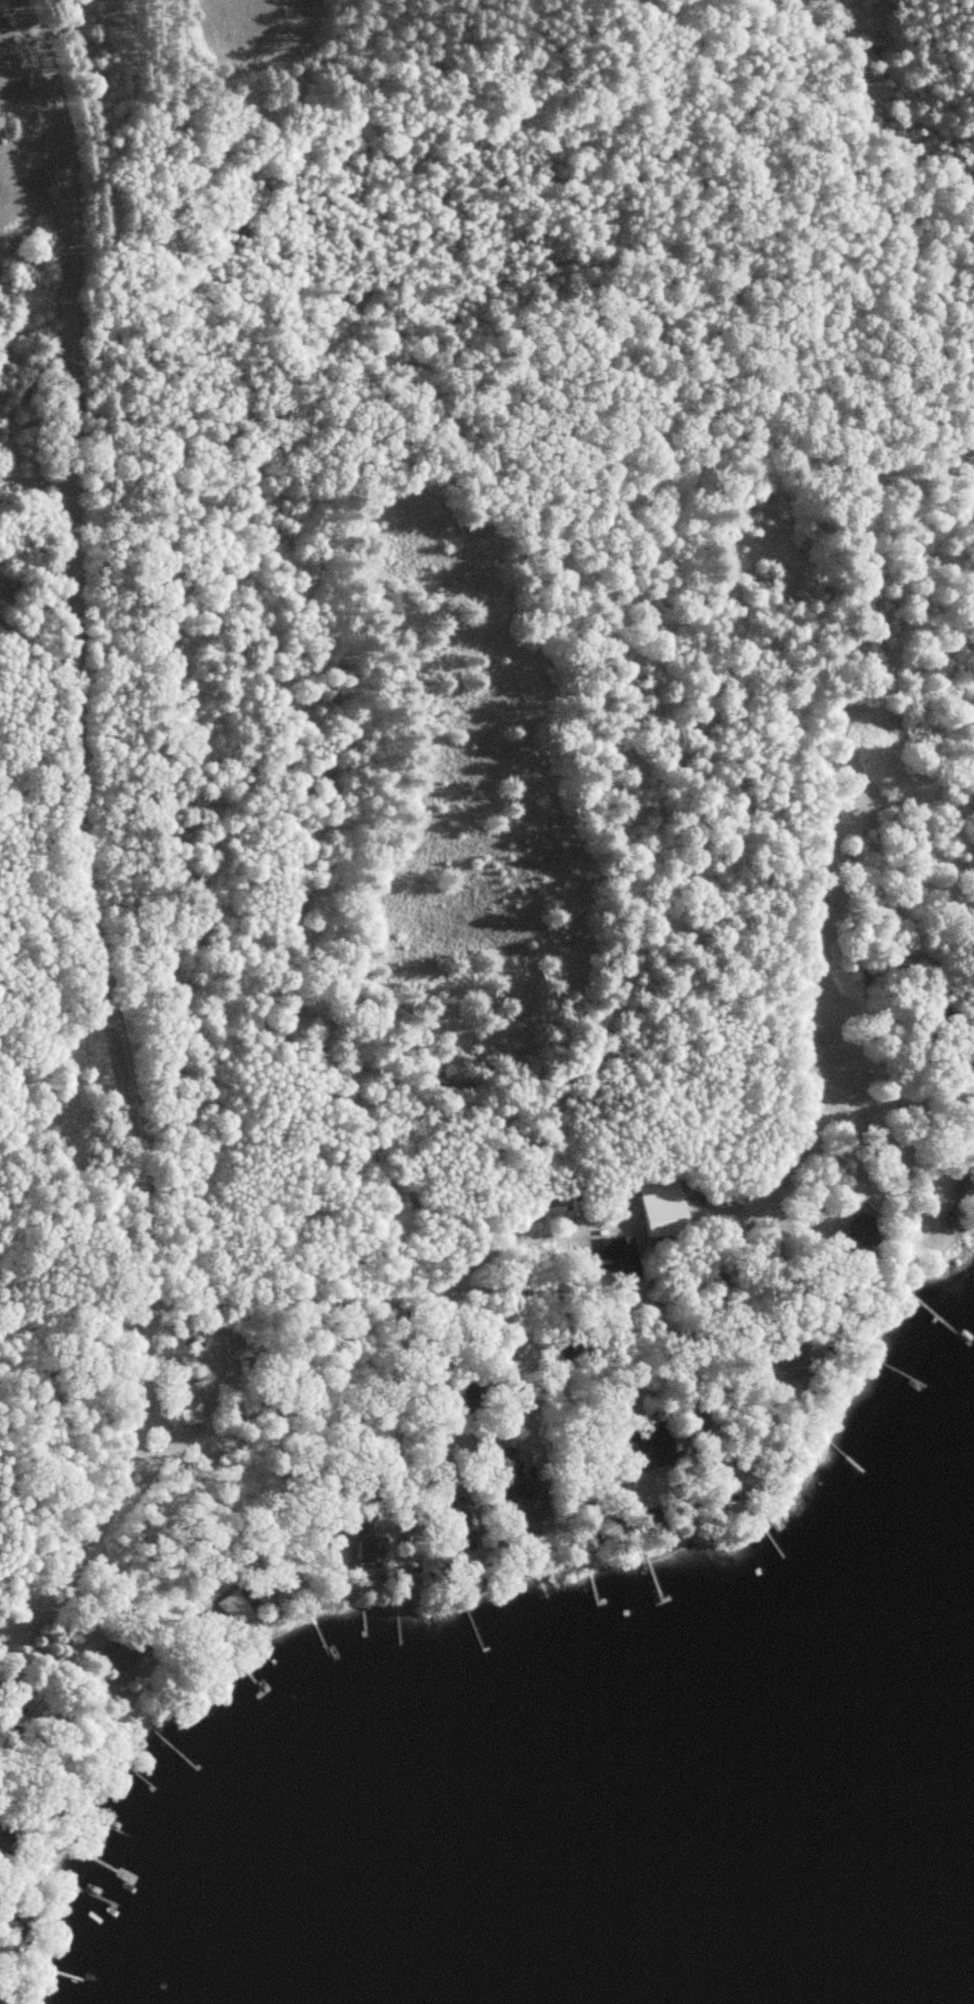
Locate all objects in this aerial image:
road: (80, 850)
building: (966, 1185)
building: (666, 1207)
building: (863, 1232)
building: (616, 1255)
road: (297, 1303)
building: (571, 1347)
road: (538, 1353)
road: (445, 1365)
road: (530, 1390)
building: (478, 1397)
building: (187, 1403)
road: (208, 1434)
building: (658, 1444)
building: (522, 1489)
building: (724, 1489)
road: (215, 1500)
building: (462, 1522)
building: (126, 1649)
building: (15, 1679)
building: (64, 1722)
building: (1, 1944)

